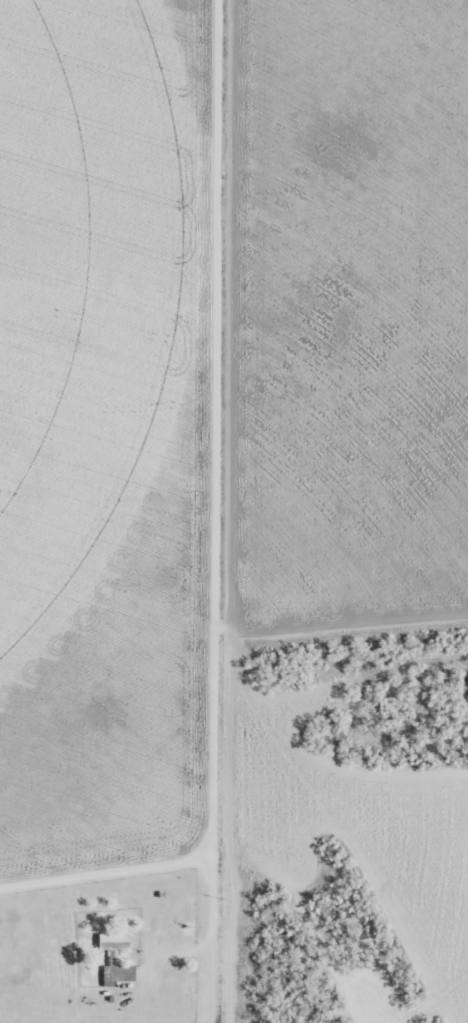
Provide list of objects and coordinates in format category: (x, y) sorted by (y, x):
road: (211, 523)
building: (115, 941)

